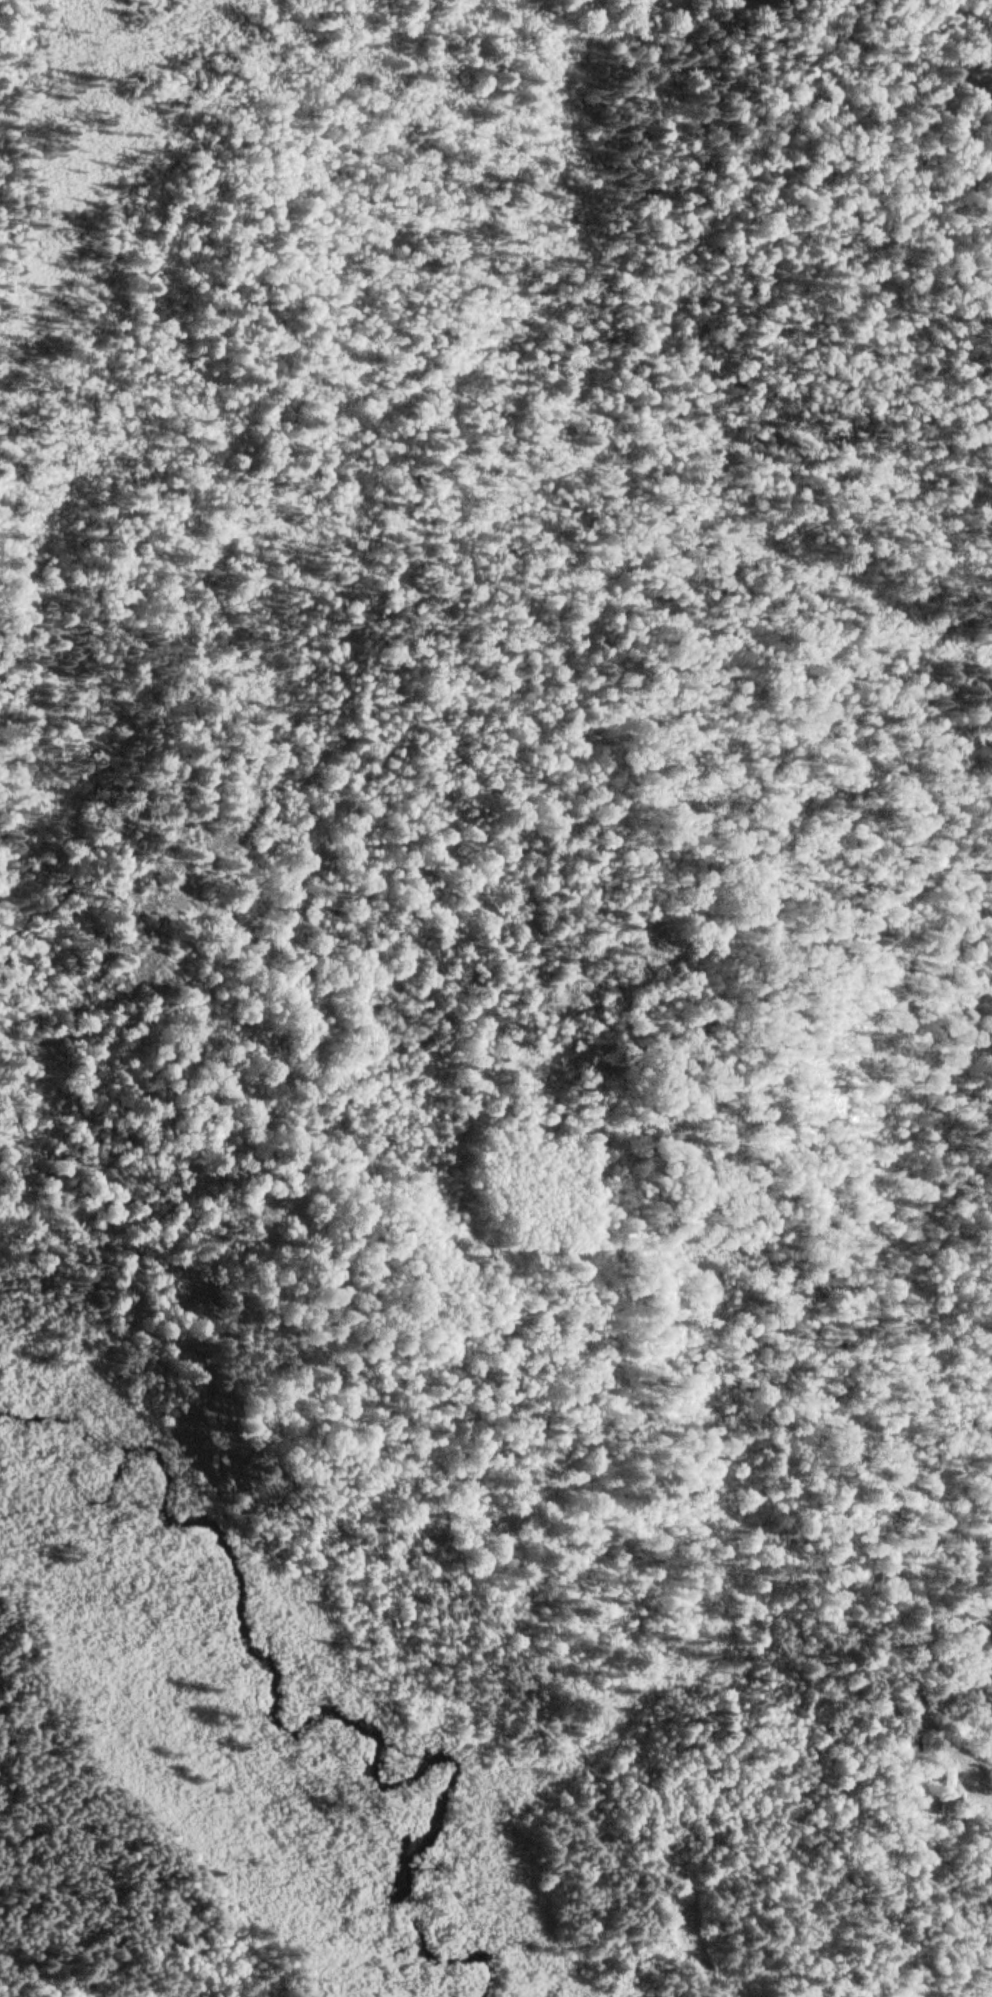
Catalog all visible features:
building: (943, 1788)

